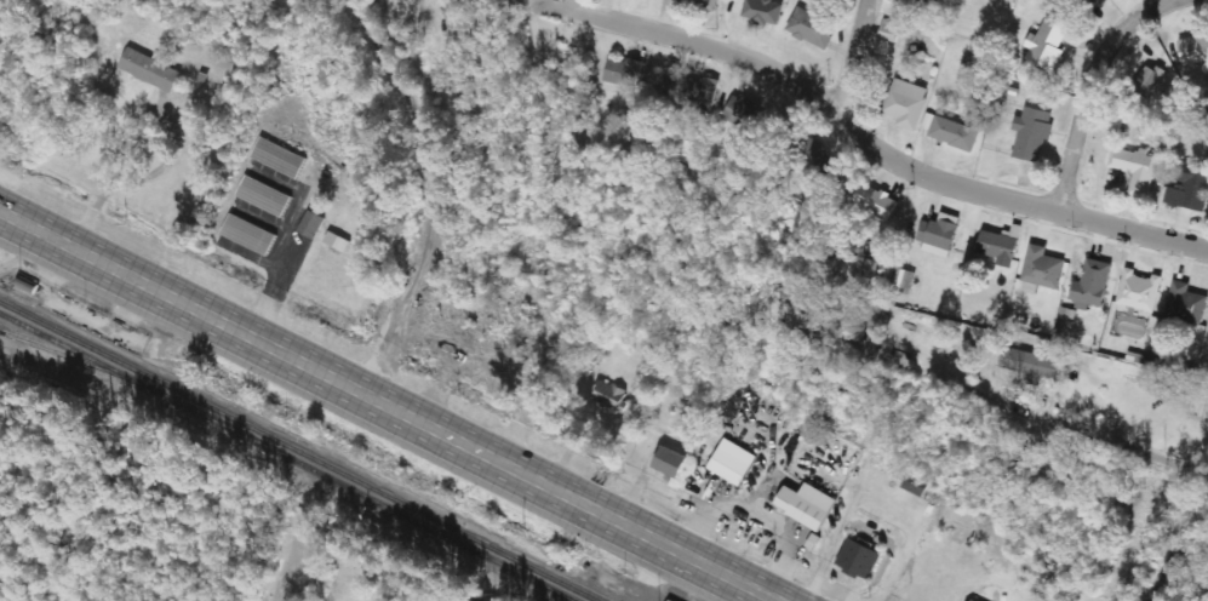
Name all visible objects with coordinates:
building: (1100, 0)
building: (706, 2)
building: (923, 4)
building: (763, 11)
building: (812, 28)
building: (1048, 44)
building: (1193, 51)
road: (852, 61)
building: (151, 69)
building: (626, 71)
building: (1149, 80)
building: (693, 91)
road: (1083, 92)
building: (906, 104)
building: (744, 111)
building: (955, 133)
building: (1032, 133)
road: (869, 143)
building: (277, 158)
building: (815, 160)
building: (1137, 170)
building: (1190, 188)
building: (264, 195)
building: (876, 201)
building: (311, 224)
building: (248, 234)
building: (938, 234)
building: (998, 247)
building: (1042, 270)
building: (875, 273)
building: (1092, 285)
building: (1140, 291)
building: (1186, 303)
railway: (67, 356)
building: (1032, 365)
building: (612, 396)
road: (395, 403)
railway: (299, 451)
railway: (287, 456)
building: (671, 463)
building: (732, 463)
building: (912, 487)
building: (807, 505)
road: (1004, 521)
road: (1176, 542)
building: (858, 559)
road: (342, 583)
railway: (557, 594)
building: (670, 600)

